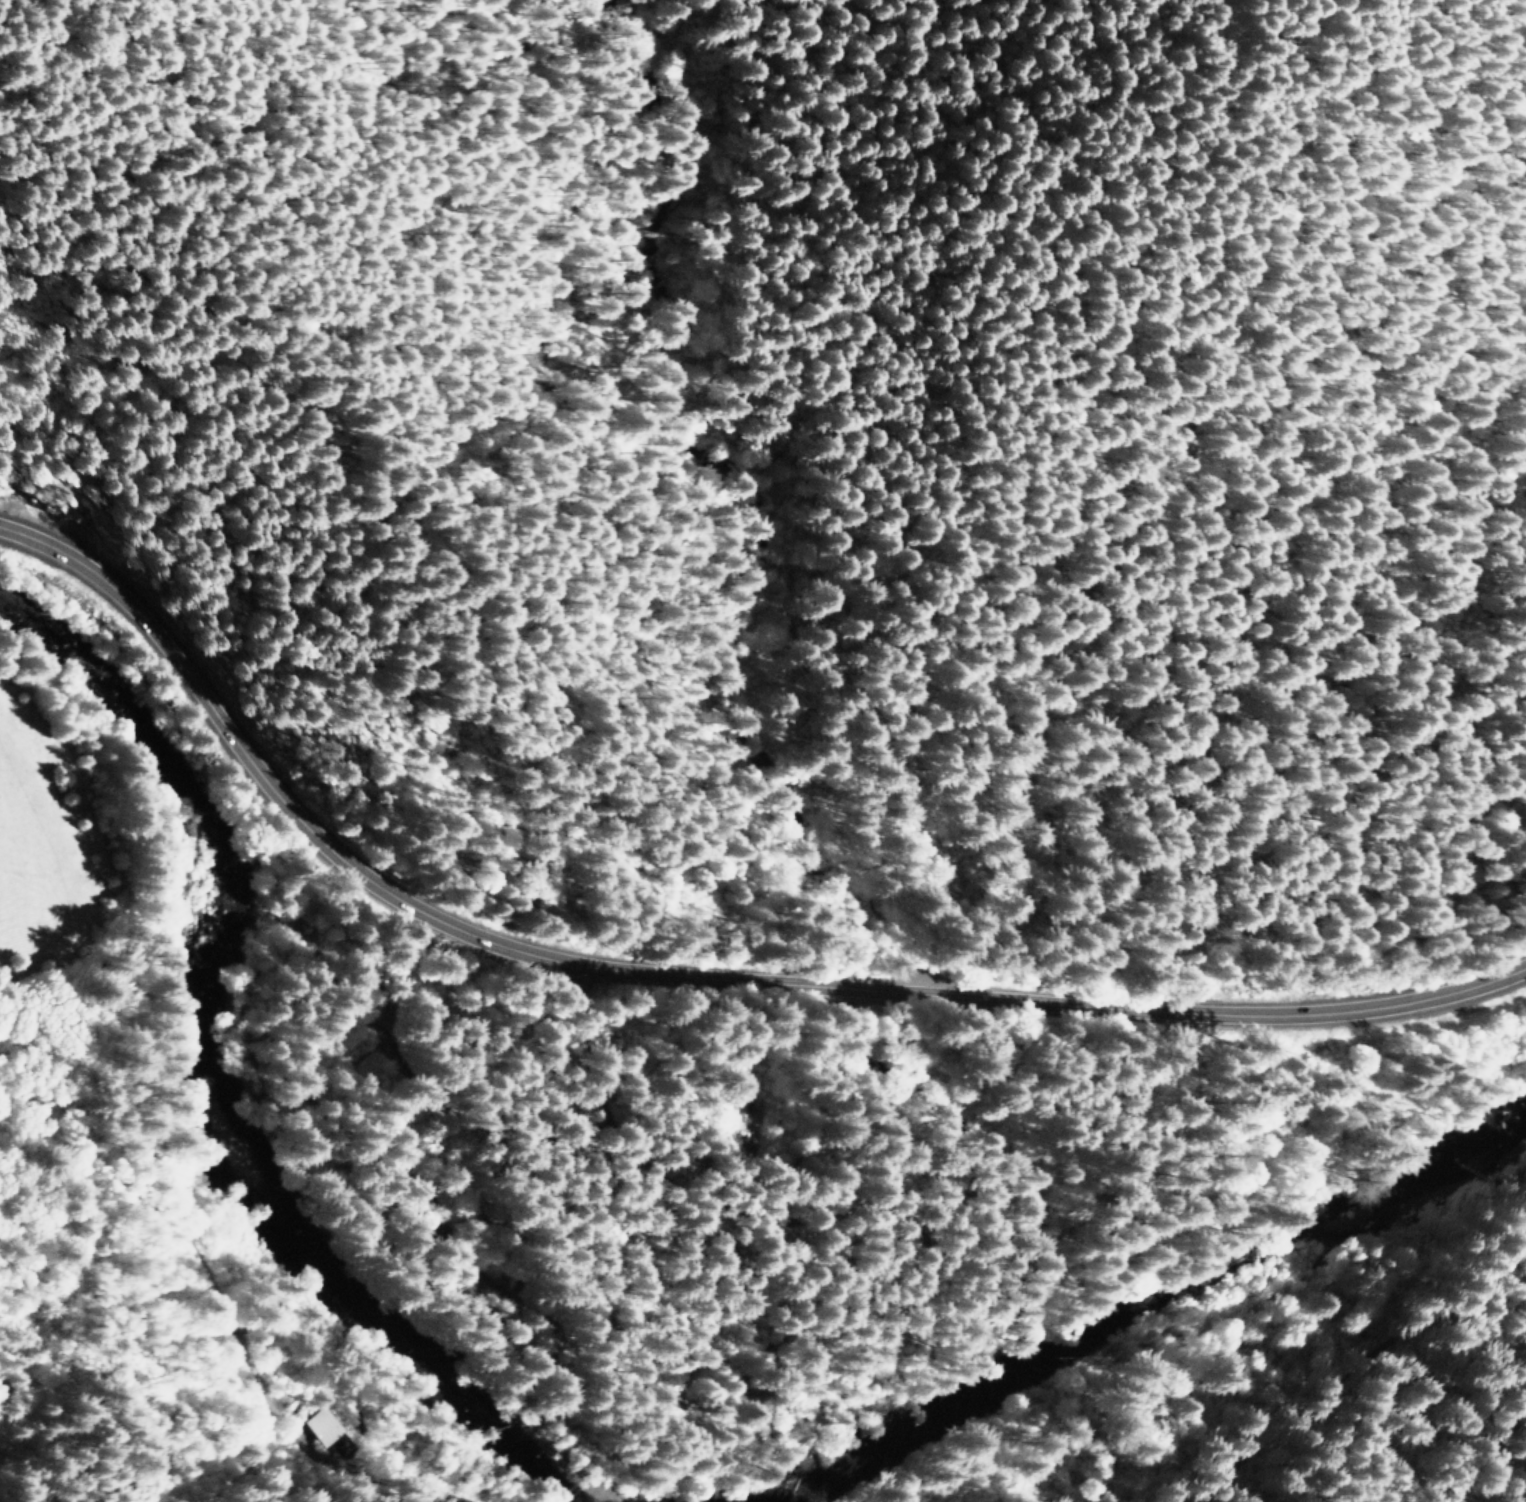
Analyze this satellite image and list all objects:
road: (1175, 742)
road: (433, 829)
road: (837, 869)
road: (552, 870)
road: (882, 912)
parking lot: (911, 971)
road: (677, 974)
river: (222, 1109)
river: (1139, 1311)
road: (633, 1375)
road: (1410, 1406)
road: (222, 1426)
building: (319, 1426)

